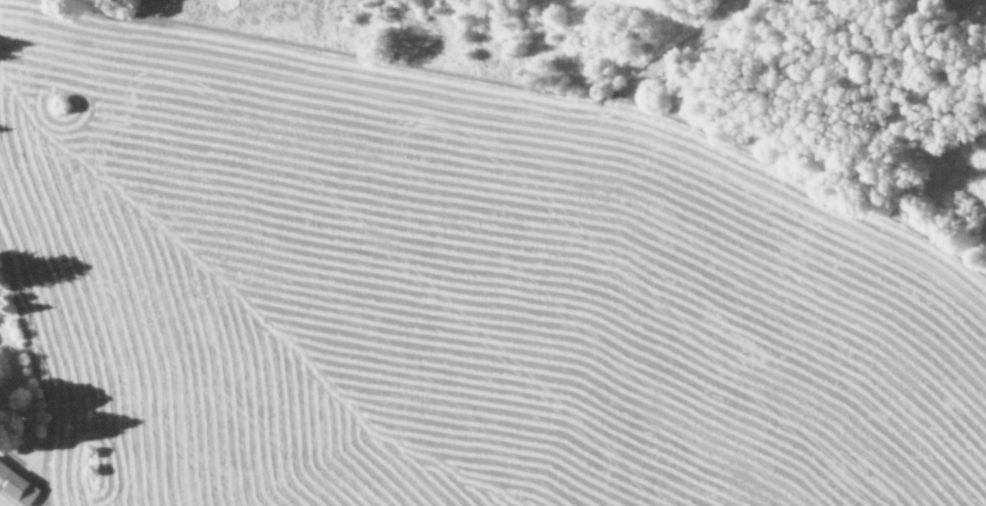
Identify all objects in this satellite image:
crop: (493, 253)
building: (17, 483)

